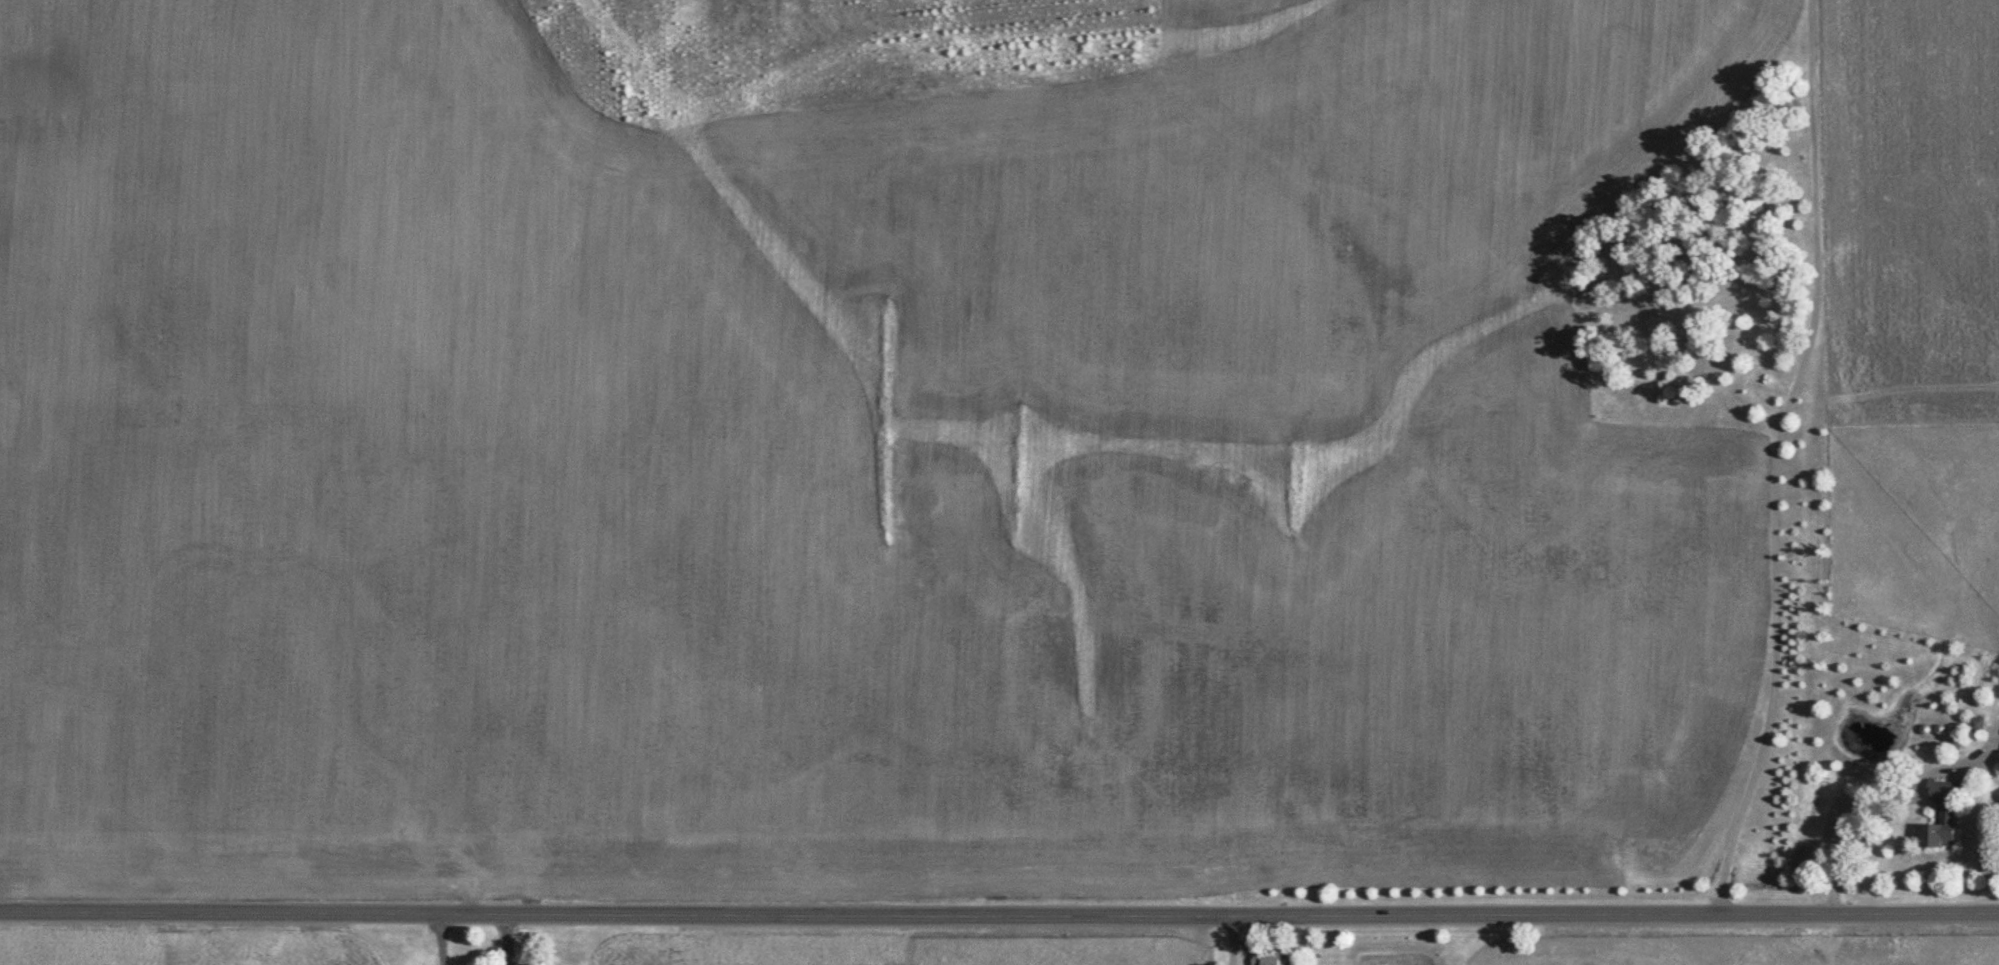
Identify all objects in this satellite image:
crop: (1911, 210)
building: (1976, 722)
building: (1938, 788)
building: (1940, 829)
road: (999, 915)
building: (1264, 958)

